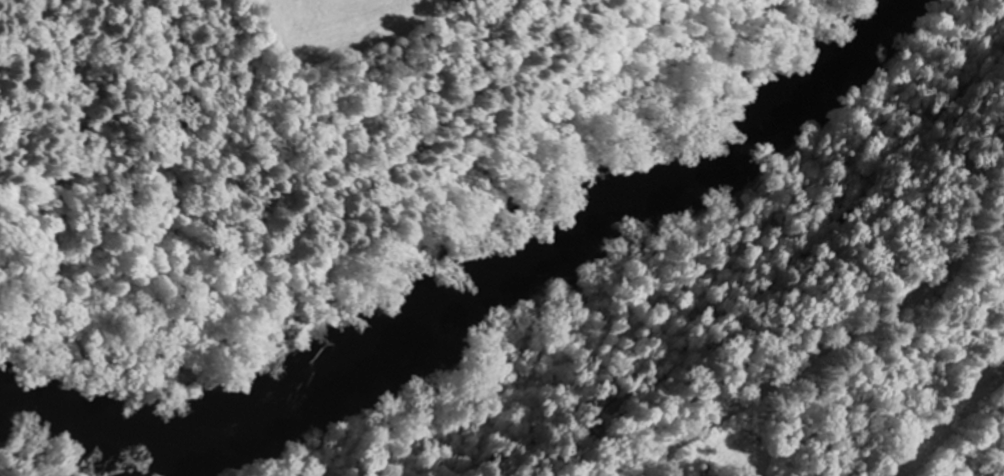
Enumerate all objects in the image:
river: (479, 298)
road: (877, 365)

